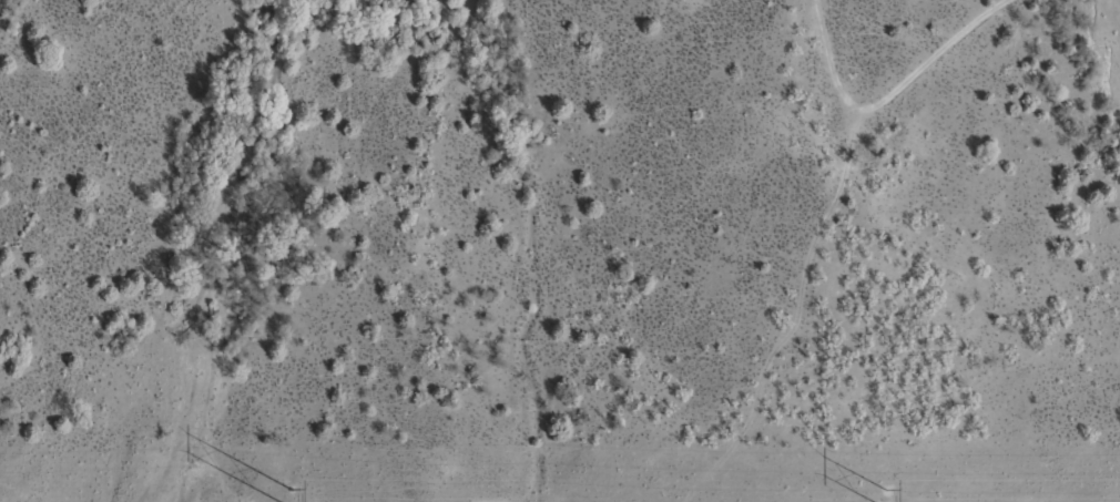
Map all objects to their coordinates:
crop: (560, 250)
power tower: (289, 495)
power tower: (885, 496)

